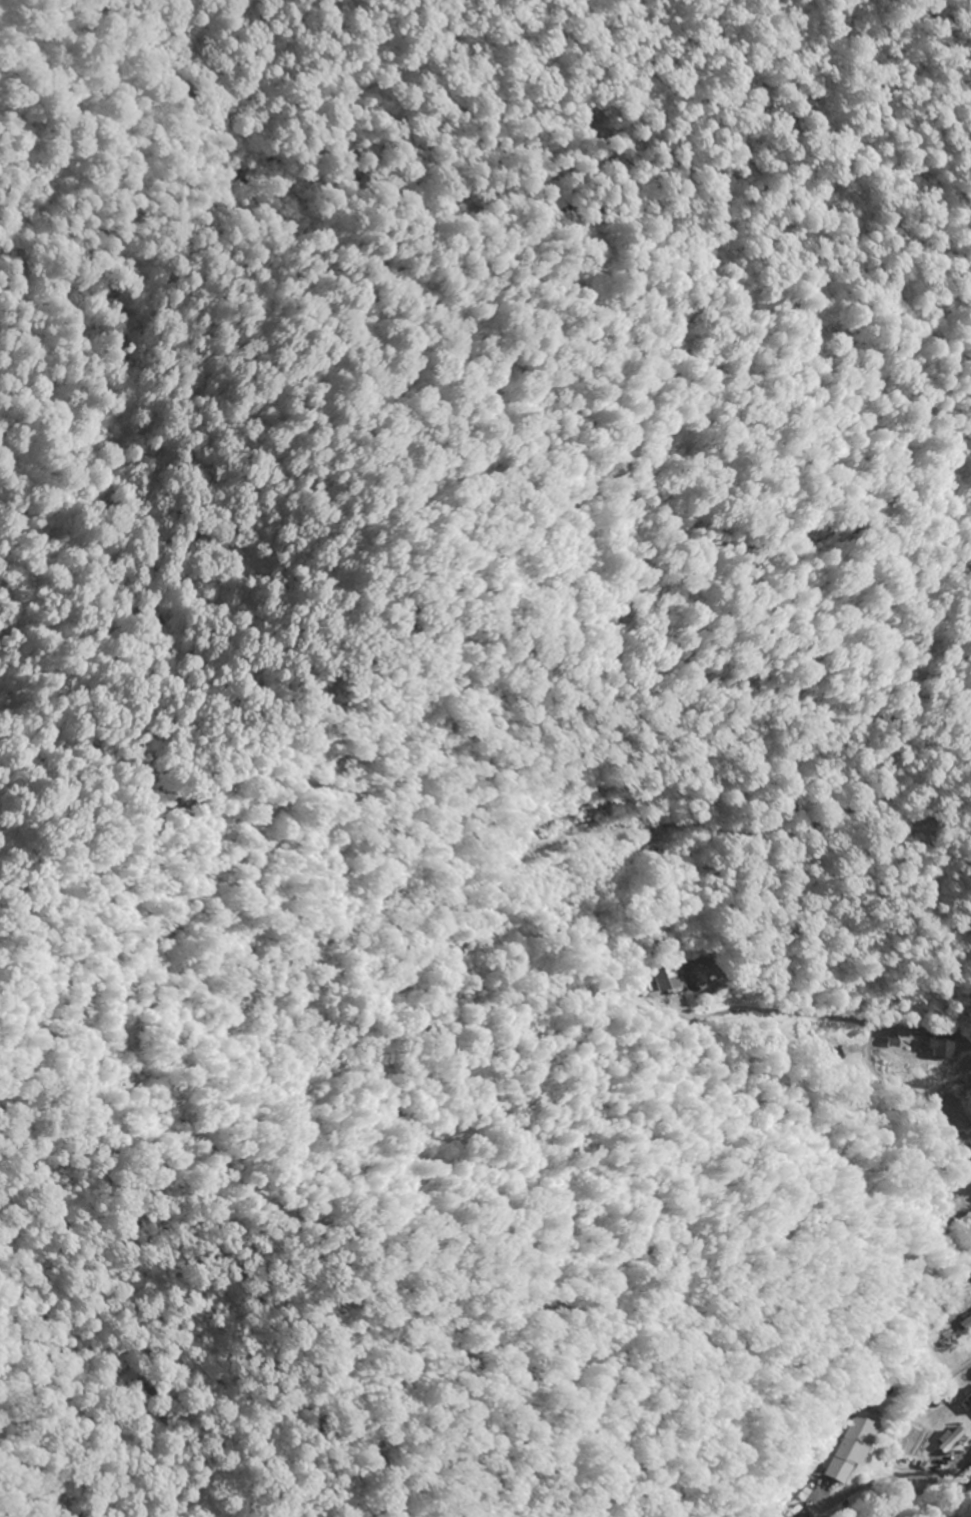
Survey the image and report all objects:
building: (665, 980)
building: (942, 1046)
building: (835, 1056)
building: (964, 1323)
building: (967, 1401)
building: (949, 1438)
building: (849, 1448)
road: (962, 1464)

